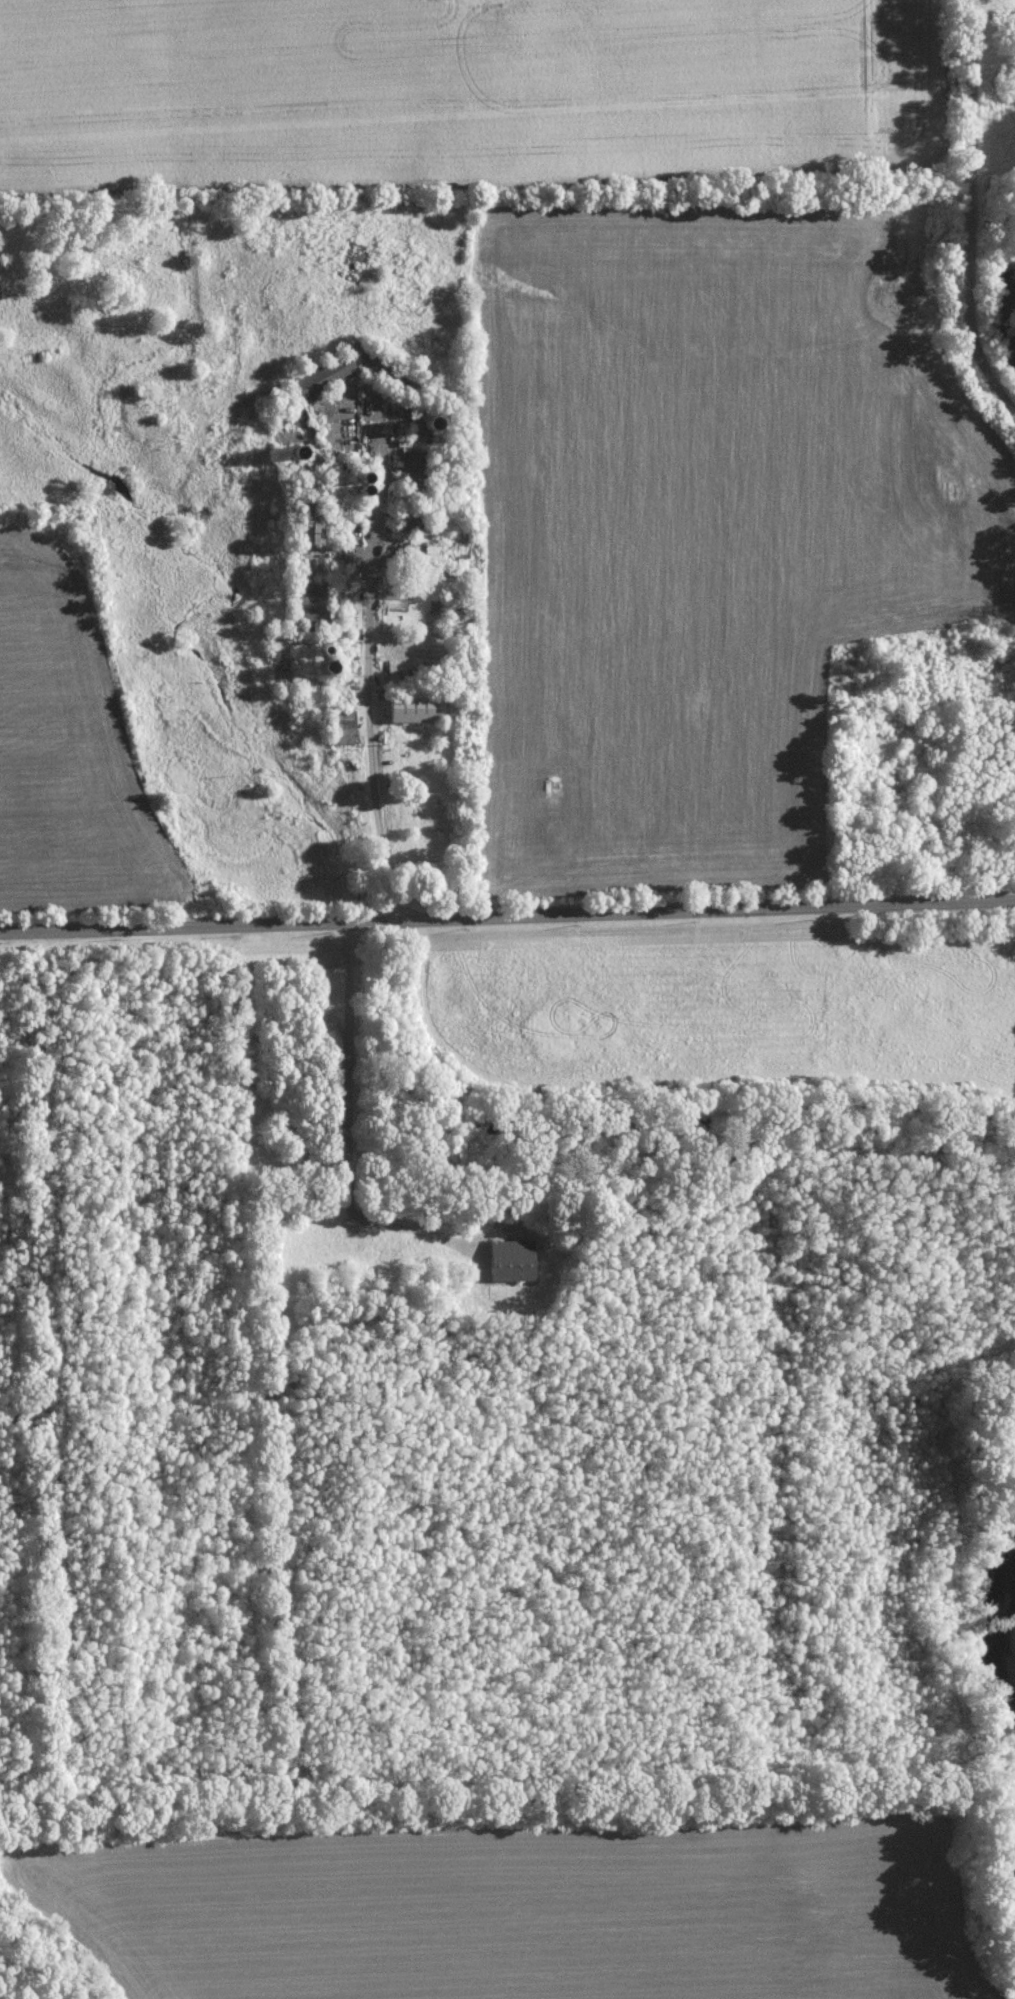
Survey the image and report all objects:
crop: (449, 89)
road: (968, 213)
river: (1009, 317)
building: (324, 376)
building: (413, 460)
building: (312, 523)
building: (415, 549)
road: (368, 668)
building: (422, 709)
building: (342, 727)
road: (507, 917)
road: (350, 1125)
building: (512, 1260)
river: (998, 1636)

